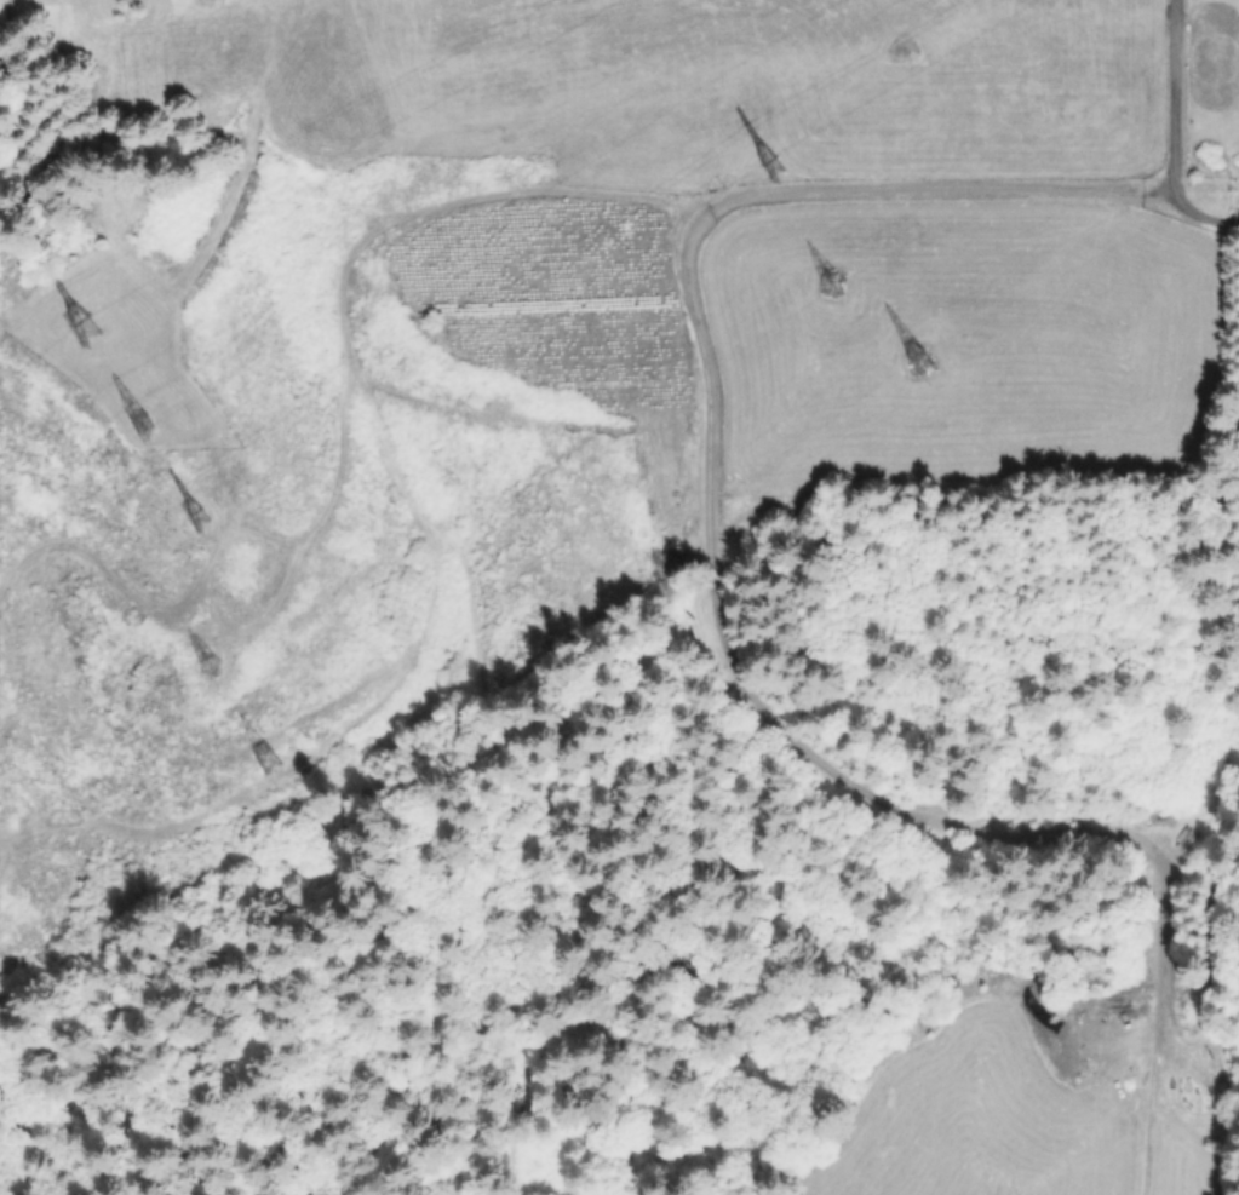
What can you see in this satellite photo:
building: (46, 23)
road: (1180, 128)
power tower: (787, 162)
power tower: (820, 276)
power tower: (98, 321)
power tower: (904, 366)
power tower: (147, 419)
power tower: (208, 515)
road: (712, 614)
power tower: (212, 666)
power tower: (256, 757)

